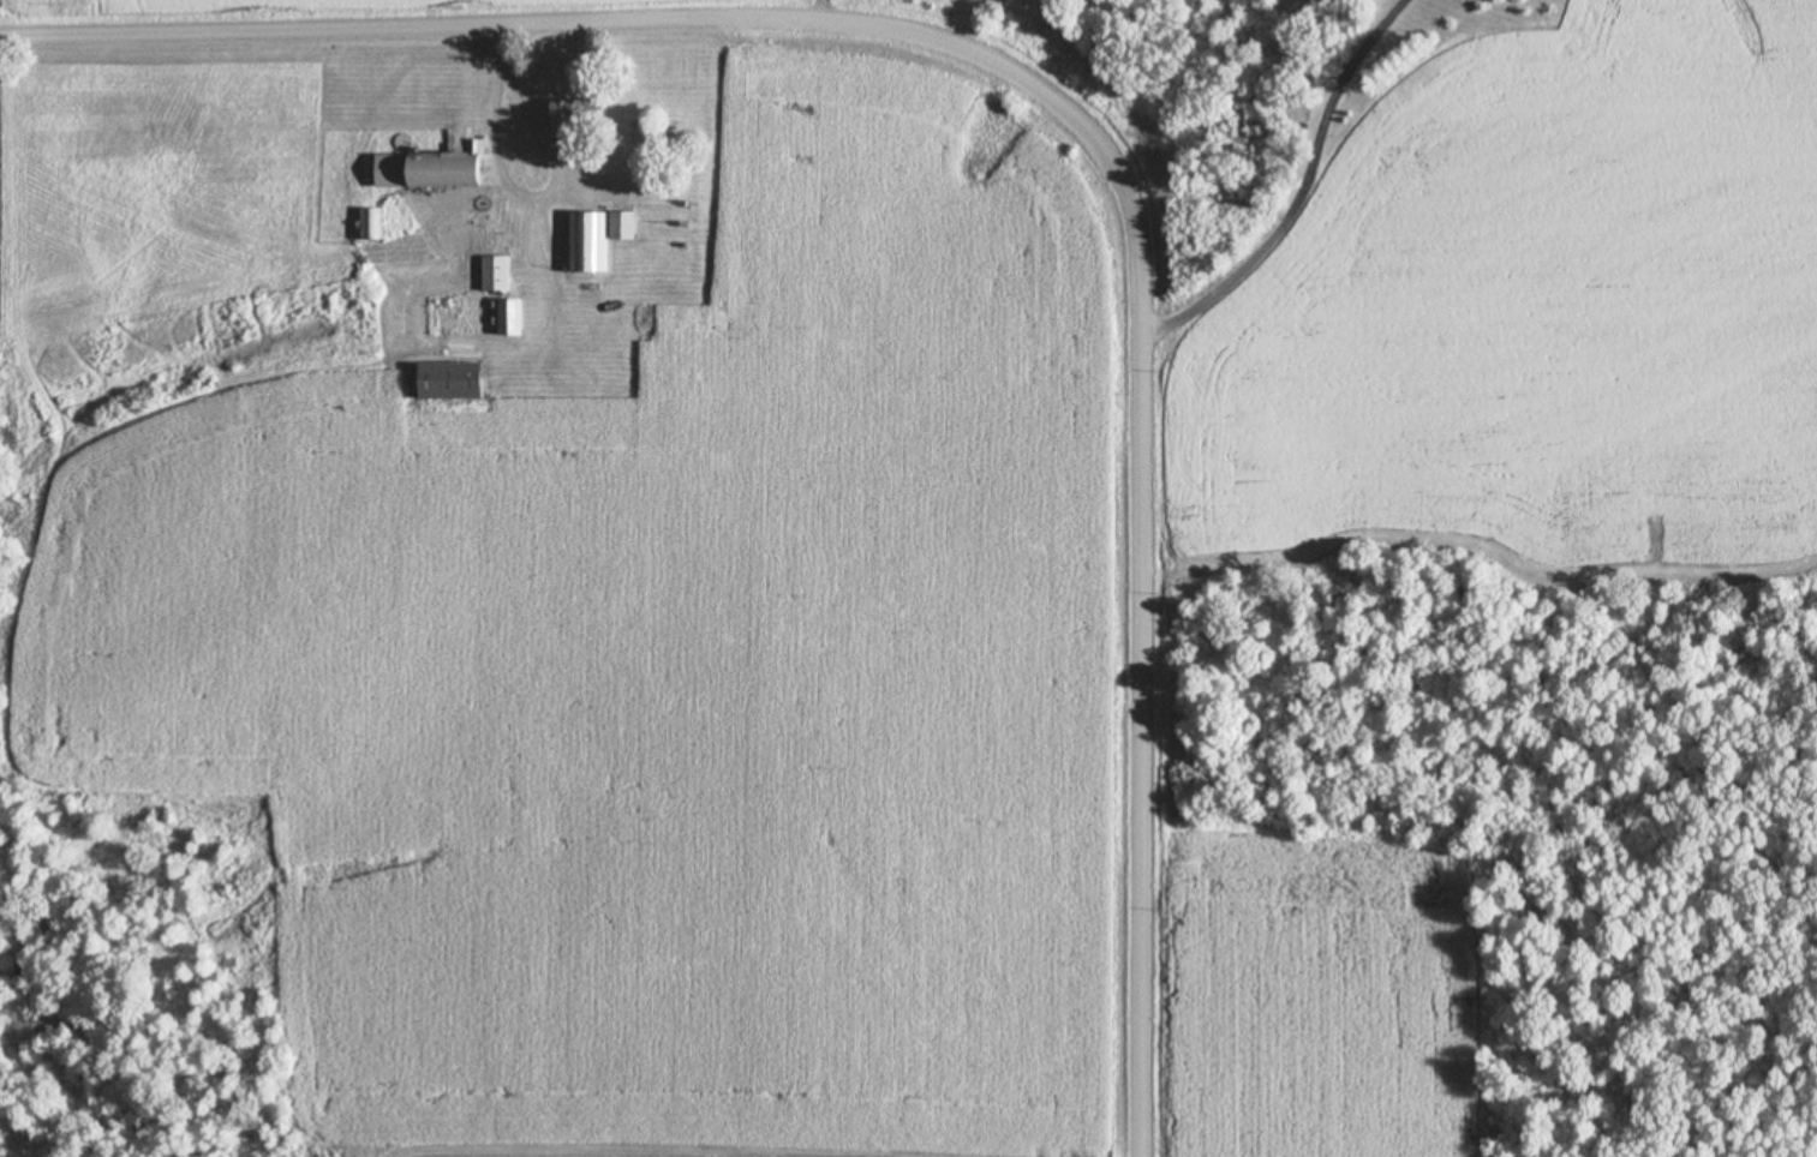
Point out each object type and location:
road: (548, 22)
building: (579, 113)
building: (434, 169)
building: (369, 222)
building: (623, 224)
building: (585, 241)
building: (495, 272)
building: (512, 316)
building: (452, 380)
road: (1148, 627)

